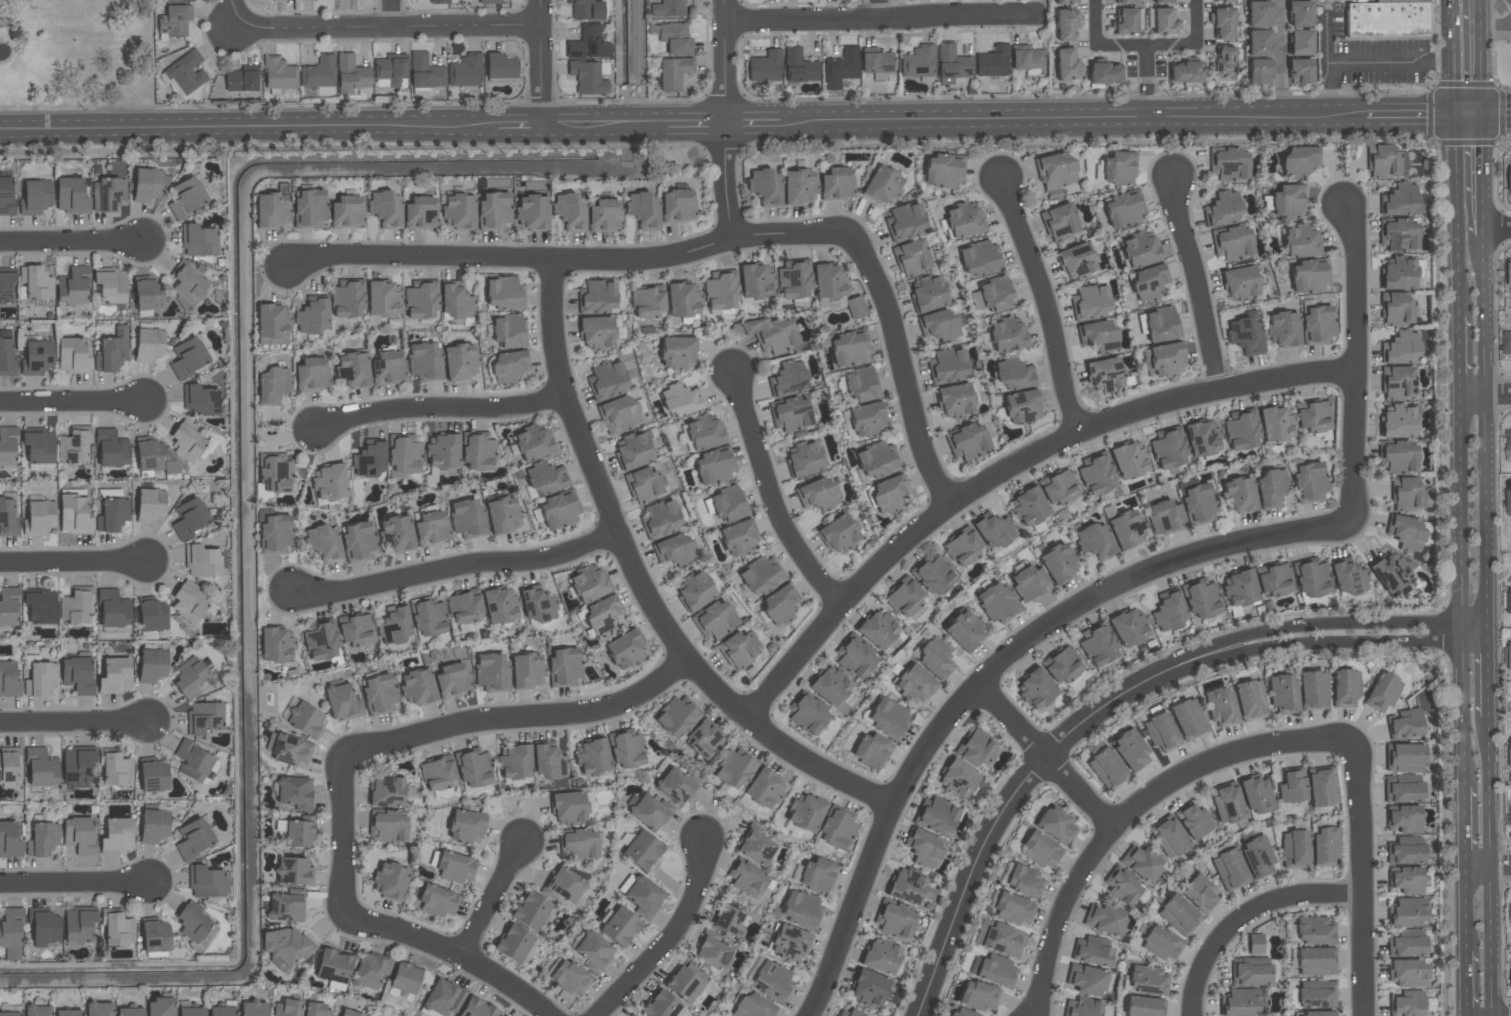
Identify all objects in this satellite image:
building: (443, 1)
building: (1126, 1)
building: (1163, 1)
building: (1223, 1)
building: (490, 2)
building: (1067, 2)
building: (586, 9)
road: (874, 9)
building: (1300, 13)
road: (234, 14)
road: (390, 14)
building: (1259, 14)
road: (879, 17)
building: (1128, 18)
building: (1387, 18)
building: (1223, 19)
building: (176, 20)
building: (1162, 20)
building: (1065, 25)
road: (1496, 26)
road: (386, 29)
building: (675, 38)
building: (588, 43)
building: (1259, 43)
building: (1300, 43)
road: (1146, 46)
road: (1453, 56)
road: (1482, 56)
park: (75, 57)
building: (1027, 58)
road: (1283, 58)
building: (992, 60)
road: (640, 62)
building: (877, 62)
building: (918, 62)
building: (1224, 62)
road: (539, 63)
building: (951, 63)
building: (1066, 63)
road: (1368, 63)
building: (500, 65)
building: (765, 66)
building: (799, 66)
building: (841, 67)
building: (391, 68)
building: (465, 70)
building: (1185, 70)
building: (425, 71)
building: (1104, 71)
building: (1300, 71)
building: (186, 72)
building: (319, 72)
building: (351, 72)
building: (1259, 72)
building: (279, 73)
building: (674, 73)
building: (589, 76)
building: (241, 80)
road: (1146, 82)
road: (1497, 112)
road: (1469, 113)
traffic signals: (1470, 113)
road: (1409, 114)
road: (1072, 118)
road: (724, 120)
road: (752, 122)
road: (696, 123)
road: (604, 125)
road: (514, 127)
road: (244, 130)
building: (1299, 160)
building: (1229, 162)
building: (1386, 162)
building: (1118, 167)
building: (942, 169)
road: (1483, 170)
building: (1056, 171)
building: (837, 182)
building: (147, 183)
building: (884, 184)
building: (765, 185)
building: (799, 185)
building: (109, 192)
building: (71, 193)
building: (6, 195)
building: (37, 195)
building: (187, 197)
building: (1402, 200)
building: (1288, 201)
building: (678, 204)
building: (386, 205)
building: (310, 206)
building: (643, 207)
building: (271, 208)
building: (495, 208)
building: (347, 209)
building: (533, 209)
building: (571, 209)
building: (1223, 209)
building: (459, 210)
building: (1122, 210)
building: (421, 211)
road: (1457, 211)
building: (605, 215)
building: (905, 220)
building: (964, 220)
building: (1059, 221)
road: (1496, 227)
building: (1399, 234)
building: (199, 238)
building: (1300, 241)
road: (72, 242)
building: (1232, 243)
building: (1140, 249)
road: (572, 258)
building: (912, 258)
building: (978, 258)
building: (1076, 260)
building: (1398, 273)
building: (1510, 274)
building: (1309, 276)
building: (793, 278)
building: (755, 280)
building: (828, 280)
building: (36, 282)
building: (1240, 282)
building: (1147, 283)
road: (1194, 283)
building: (6, 284)
building: (111, 284)
building: (73, 285)
building: (188, 285)
building: (721, 290)
building: (148, 293)
building: (503, 293)
building: (929, 294)
building: (993, 295)
building: (383, 296)
building: (597, 296)
building: (347, 297)
building: (421, 298)
building: (683, 298)
building: (647, 300)
building: (455, 301)
building: (1091, 301)
road: (1044, 303)
building: (855, 307)
building: (1397, 309)
building: (312, 314)
building: (272, 322)
building: (1319, 322)
building: (1161, 324)
building: (939, 326)
building: (1284, 327)
building: (508, 330)
building: (596, 332)
building: (769, 333)
building: (1007, 335)
building: (1098, 335)
building: (1245, 335)
building: (1506, 342)
building: (149, 343)
building: (846, 347)
building: (1401, 348)
building: (112, 350)
building: (677, 352)
road: (1458, 352)
building: (72, 353)
building: (38, 356)
building: (7, 357)
building: (188, 357)
building: (1166, 359)
building: (425, 360)
building: (460, 361)
road: (1356, 363)
building: (948, 365)
building: (388, 367)
building: (509, 367)
road: (900, 367)
building: (353, 368)
building: (312, 372)
building: (1104, 374)
building: (1012, 375)
building: (789, 378)
building: (607, 379)
building: (273, 382)
building: (1398, 383)
building: (860, 384)
road: (1484, 394)
building: (200, 399)
building: (681, 399)
building: (955, 400)
road: (73, 403)
road: (441, 411)
building: (619, 414)
building: (791, 414)
building: (1313, 415)
building: (866, 419)
building: (1399, 421)
building: (1275, 423)
road: (1486, 423)
building: (1241, 430)
building: (704, 433)
building: (1202, 438)
building: (967, 441)
building: (532, 442)
building: (7, 444)
building: (187, 444)
building: (1508, 444)
building: (75, 445)
building: (39, 446)
building: (111, 448)
building: (1168, 448)
building: (444, 450)
building: (633, 451)
building: (477, 452)
building: (404, 454)
building: (155, 456)
building: (1398, 457)
building: (369, 459)
building: (804, 459)
building: (1128, 460)
building: (876, 461)
building: (714, 466)
road: (1008, 469)
building: (274, 472)
building: (1096, 474)
building: (545, 478)
building: (1309, 480)
building: (330, 482)
building: (645, 485)
building: (1271, 486)
building: (1059, 487)
building: (817, 493)
building: (1240, 493)
building: (887, 494)
building: (1409, 494)
road: (771, 496)
building: (1200, 502)
building: (1508, 502)
building: (726, 503)
building: (150, 504)
building: (1028, 507)
building: (559, 510)
building: (74, 514)
building: (113, 514)
building: (467, 516)
building: (1165, 516)
building: (39, 517)
building: (190, 517)
building: (8, 518)
building: (660, 518)
building: (1124, 526)
building: (432, 527)
building: (994, 531)
building: (274, 532)
building: (1407, 532)
building: (397, 533)
building: (838, 533)
building: (737, 538)
building: (358, 540)
building: (1094, 540)
building: (324, 543)
building: (962, 547)
building: (675, 550)
building: (202, 560)
building: (1058, 563)
road: (72, 564)
road: (449, 567)
building: (1390, 572)
building: (933, 575)
building: (760, 576)
building: (1274, 578)
building: (1311, 578)
building: (1348, 578)
building: (1029, 582)
building: (588, 584)
road: (641, 584)
building: (1241, 587)
building: (695, 591)
road: (1461, 592)
building: (904, 597)
building: (1201, 599)
building: (1509, 602)
building: (189, 603)
building: (998, 603)
building: (537, 604)
building: (499, 605)
building: (779, 605)
building: (8, 606)
building: (41, 606)
building: (76, 606)
building: (464, 608)
building: (113, 609)
building: (1169, 611)
building: (152, 614)
building: (601, 615)
building: (714, 620)
building: (395, 624)
road: (1293, 625)
building: (1129, 628)
building: (356, 630)
building: (878, 630)
building: (965, 631)
building: (276, 644)
road: (1297, 644)
building: (1098, 645)
building: (625, 650)
building: (738, 650)
building: (855, 657)
building: (934, 657)
building: (1509, 658)
building: (152, 665)
building: (1062, 665)
building: (565, 666)
building: (527, 669)
building: (492, 670)
road: (1486, 670)
building: (77, 674)
road: (991, 674)
building: (116, 675)
building: (190, 677)
building: (41, 678)
building: (8, 679)
building: (452, 679)
building: (913, 683)
building: (417, 687)
building: (830, 687)
building: (1346, 687)
building: (1035, 688)
building: (1313, 689)
building: (1282, 692)
building: (1383, 692)
building: (379, 694)
building: (1250, 700)
building: (341, 701)
building: (1220, 706)
building: (807, 713)
building: (204, 717)
building: (676, 717)
building: (887, 717)
building: (303, 718)
road: (517, 719)
building: (1188, 719)
building: (1405, 724)
road: (73, 726)
building: (1161, 732)
building: (703, 740)
building: (976, 748)
building: (289, 749)
building: (627, 750)
building: (1130, 750)
building: (872, 751)
road: (1043, 753)
building: (592, 757)
building: (1404, 757)
building: (193, 761)
building: (516, 762)
building: (549, 762)
building: (77, 764)
building: (8, 765)
building: (41, 767)
building: (1106, 768)
building: (116, 769)
building: (473, 769)
building: (733, 771)
building: (437, 774)
building: (154, 777)
building: (961, 781)
building: (676, 784)
building: (1292, 787)
building: (1322, 787)
building: (1403, 788)
building: (764, 789)
building: (387, 791)
building: (294, 792)
building: (1257, 795)
road: (1134, 804)
building: (1227, 804)
building: (568, 807)
building: (647, 811)
building: (1510, 812)
building: (806, 813)
building: (936, 816)
building: (1403, 819)
building: (1194, 820)
building: (154, 825)
building: (1056, 825)
building: (389, 826)
building: (466, 826)
road: (1466, 828)
road: (340, 829)
building: (79, 834)
building: (298, 834)
building: (117, 835)
road: (987, 836)
building: (1169, 838)
building: (9, 839)
building: (43, 839)
building: (194, 839)
building: (578, 844)
building: (1325, 846)
building: (757, 848)
building: (924, 848)
building: (1295, 848)
building: (642, 850)
building: (1041, 851)
building: (1406, 854)
building: (1257, 857)
building: (1141, 863)
road: (1489, 867)
building: (455, 868)
road: (1490, 868)
building: (1230, 870)
building: (294, 871)
building: (818, 875)
building: (746, 877)
road: (77, 878)
building: (1406, 879)
building: (206, 881)
building: (390, 881)
building: (1024, 881)
road: (1360, 883)
building: (565, 885)
building: (1124, 886)
building: (910, 888)
building: (1200, 893)
road: (494, 895)
building: (643, 896)
building: (438, 902)
building: (285, 907)
building: (1012, 908)
road: (1467, 908)
building: (802, 909)
building: (531, 911)
building: (1407, 911)
building: (1179, 915)
road: (1247, 916)
building: (1510, 916)
building: (729, 920)
building: (894, 920)
building: (1105, 920)
building: (79, 924)
building: (192, 924)
building: (43, 926)
building: (620, 927)
building: (117, 928)
building: (1313, 930)
building: (11, 933)
building: (155, 936)
building: (999, 938)
road: (670, 939)
building: (513, 943)
building: (791, 944)
building: (1161, 944)
building: (1255, 944)
building: (1407, 946)
building: (285, 947)
road: (453, 948)
building: (713, 951)
building: (1091, 951)
building: (593, 952)
building: (881, 957)
building: (1316, 961)
building: (334, 967)
building: (370, 970)
building: (994, 971)
building: (1250, 971)
building: (1408, 973)
building: (1510, 975)
building: (570, 978)
building: (771, 979)
building: (1086, 980)
building: (1147, 980)
building: (404, 982)
road: (1467, 983)
building: (684, 984)
building: (870, 989)
building: (979, 995)
building: (1315, 995)
building: (438, 999)
building: (1239, 1002)
building: (1406, 1003)
building: (660, 1005)
building: (752, 1006)
building: (1143, 1006)
building: (160, 1007)
building: (1082, 1007)
building: (253, 1008)
building: (286, 1008)
building: (477, 1008)
building: (99, 1009)
building: (316, 1010)
building: (37, 1011)
building: (191, 1011)
building: (221, 1011)
building: (68, 1012)
building: (129, 1012)
building: (962, 1012)
building: (10, 1013)
building: (350, 1013)
building: (849, 1013)
building: (1316, 1013)
building: (504, 1015)

